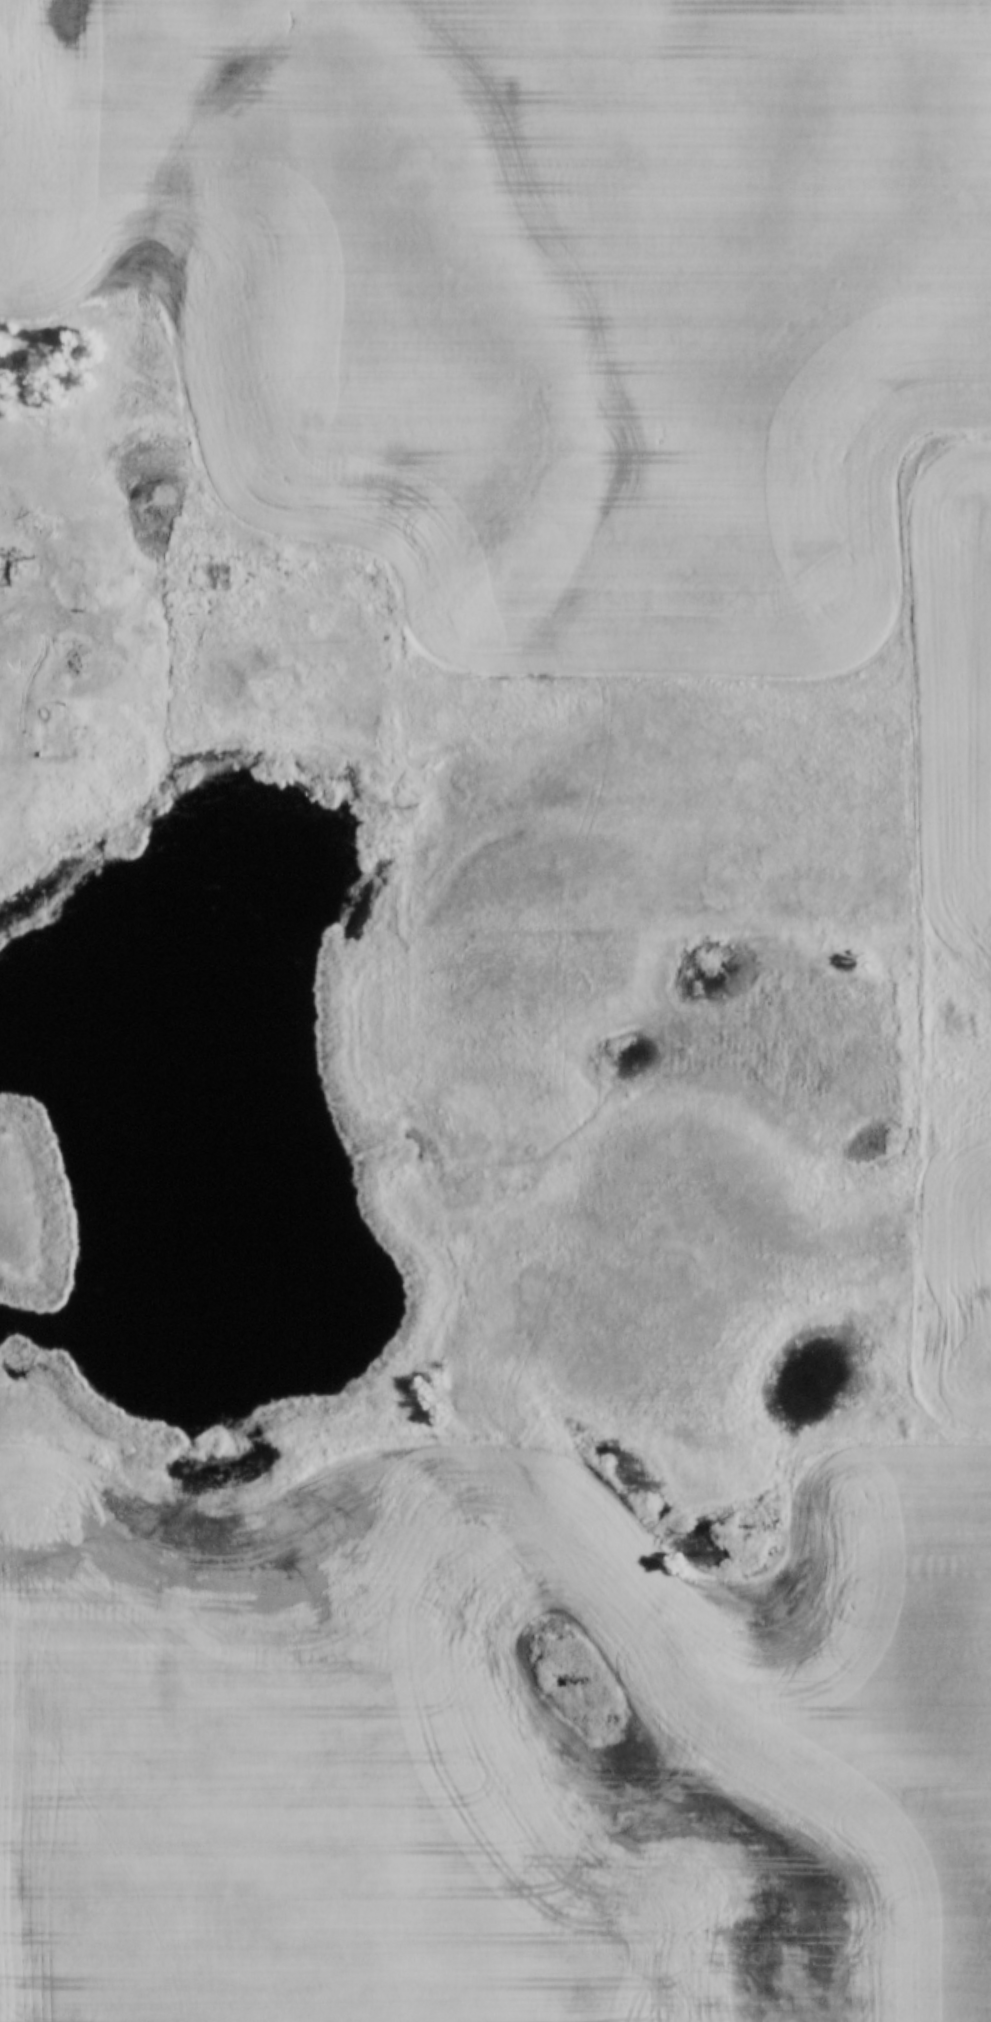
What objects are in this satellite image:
road: (29, 616)

